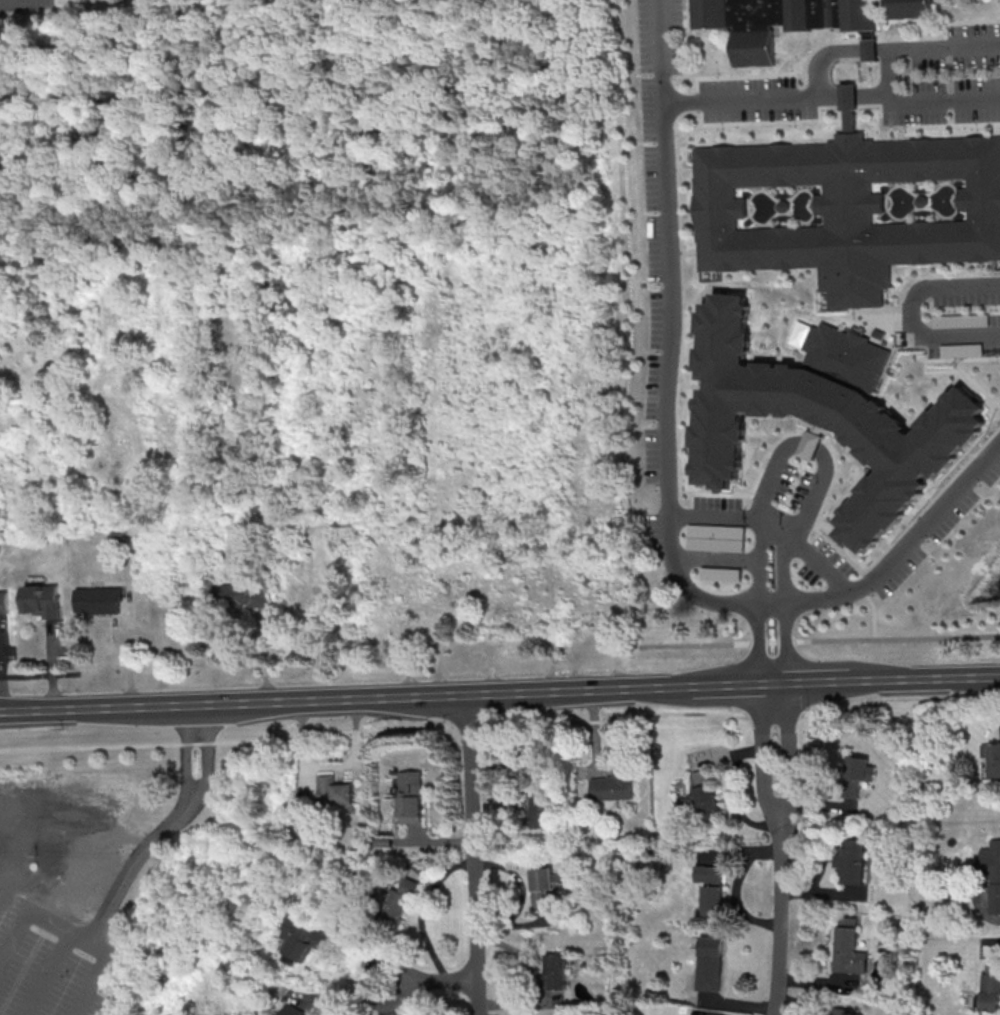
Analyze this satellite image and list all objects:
building: (896, 6)
building: (775, 22)
road: (890, 45)
building: (868, 50)
road: (887, 68)
building: (678, 88)
road: (834, 94)
road: (914, 309)
road: (807, 439)
road: (666, 484)
road: (773, 523)
road: (716, 558)
building: (239, 598)
building: (99, 601)
building: (3, 602)
building: (42, 603)
building: (810, 632)
building: (736, 635)
road: (880, 638)
road: (699, 644)
road: (39, 675)
road: (922, 678)
road: (815, 682)
road: (773, 683)
road: (728, 685)
road: (581, 690)
road: (440, 694)
road: (298, 699)
road: (170, 704)
road: (79, 707)
road: (500, 724)
road: (183, 751)
road: (209, 753)
building: (992, 759)
building: (858, 776)
building: (615, 785)
building: (336, 795)
building: (706, 796)
building: (410, 798)
building: (542, 805)
road: (777, 813)
road: (471, 854)
building: (851, 862)
building: (543, 887)
building: (712, 889)
road: (117, 897)
building: (394, 904)
road: (34, 908)
road: (419, 909)
road: (779, 914)
building: (305, 938)
building: (849, 948)
parking lot: (51, 960)
building: (710, 964)
road: (46, 970)
building: (554, 973)
road: (427, 979)
building: (991, 987)
building: (291, 1010)
building: (841, 1011)

